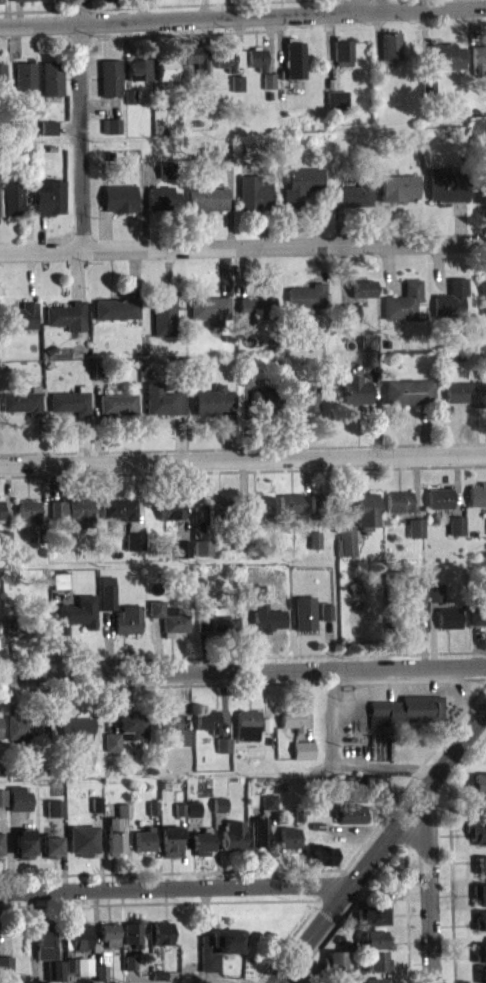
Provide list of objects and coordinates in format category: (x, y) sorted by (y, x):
building: (155, 1)
building: (109, 2)
building: (22, 3)
building: (46, 3)
building: (0, 4)
road: (376, 5)
road: (348, 6)
road: (243, 15)
building: (390, 53)
building: (343, 56)
building: (446, 62)
building: (196, 63)
building: (229, 64)
building: (257, 64)
building: (295, 65)
building: (478, 65)
building: (343, 70)
building: (166, 74)
building: (138, 75)
building: (25, 81)
building: (2, 83)
building: (109, 83)
building: (51, 84)
building: (428, 91)
road: (83, 123)
building: (111, 131)
building: (209, 163)
building: (166, 175)
building: (301, 191)
building: (446, 191)
building: (398, 193)
building: (255, 198)
building: (483, 200)
building: (353, 201)
building: (50, 202)
building: (13, 204)
building: (120, 204)
building: (164, 204)
building: (208, 205)
road: (242, 245)
building: (363, 294)
building: (307, 302)
building: (483, 303)
building: (452, 304)
building: (403, 307)
building: (256, 313)
building: (117, 314)
building: (210, 316)
building: (349, 317)
building: (22, 322)
building: (67, 322)
building: (164, 322)
building: (365, 338)
building: (366, 347)
building: (98, 368)
building: (245, 374)
building: (355, 386)
building: (409, 389)
building: (465, 391)
building: (305, 394)
building: (162, 397)
building: (22, 398)
building: (212, 398)
building: (265, 398)
building: (69, 399)
building: (115, 402)
road: (243, 446)
road: (243, 460)
road: (243, 469)
building: (477, 491)
building: (438, 496)
building: (398, 498)
building: (321, 500)
building: (290, 501)
building: (258, 503)
building: (217, 507)
building: (366, 507)
building: (119, 514)
building: (1, 516)
building: (170, 516)
building: (71, 517)
building: (28, 519)
building: (456, 522)
building: (415, 525)
building: (245, 529)
building: (457, 531)
building: (313, 537)
building: (345, 538)
building: (202, 544)
building: (315, 545)
building: (134, 547)
building: (203, 553)
building: (182, 554)
building: (58, 577)
building: (416, 585)
building: (106, 590)
building: (435, 590)
building: (262, 607)
building: (326, 608)
building: (76, 610)
building: (303, 610)
building: (477, 610)
building: (167, 615)
building: (448, 615)
building: (200, 616)
building: (221, 616)
building: (402, 616)
building: (126, 617)
building: (327, 617)
building: (24, 624)
building: (224, 628)
building: (17, 634)
road: (243, 654)
road: (243, 668)
road: (242, 681)
building: (406, 707)
building: (291, 716)
building: (206, 718)
building: (132, 722)
building: (246, 722)
building: (265, 722)
building: (172, 723)
building: (26, 725)
building: (79, 726)
building: (0, 738)
building: (111, 739)
building: (222, 742)
building: (302, 748)
building: (223, 750)
road: (412, 772)
building: (478, 780)
building: (372, 784)
building: (2, 795)
building: (17, 796)
building: (267, 799)
building: (94, 801)
building: (217, 802)
building: (477, 802)
building: (53, 805)
building: (152, 805)
building: (191, 806)
building: (178, 807)
building: (268, 807)
building: (96, 810)
building: (219, 810)
building: (348, 810)
building: (298, 811)
building: (478, 811)
building: (54, 814)
building: (187, 815)
building: (123, 816)
building: (311, 821)
building: (115, 828)
building: (256, 828)
building: (478, 830)
building: (231, 833)
building: (287, 834)
building: (82, 837)
building: (142, 837)
building: (169, 838)
building: (199, 840)
building: (22, 841)
building: (49, 843)
building: (0, 844)
road: (405, 846)
road: (379, 847)
building: (320, 852)
building: (481, 862)
road: (197, 870)
building: (481, 870)
road: (452, 883)
road: (427, 885)
road: (175, 888)
building: (479, 890)
building: (376, 891)
road: (157, 901)
road: (344, 910)
building: (374, 912)
building: (480, 919)
building: (480, 927)
building: (131, 930)
building: (108, 931)
building: (160, 931)
road: (292, 932)
building: (76, 934)
building: (374, 935)
road: (31, 937)
building: (44, 938)
building: (217, 943)
building: (372, 945)
building: (479, 950)
building: (333, 957)
building: (375, 957)
building: (129, 960)
building: (5, 961)
building: (68, 962)
building: (321, 966)
building: (377, 967)
building: (53, 968)
building: (130, 968)
building: (99, 970)
building: (83, 972)
building: (158, 972)
building: (481, 973)
road: (292, 974)
building: (373, 979)
road: (174, 980)

